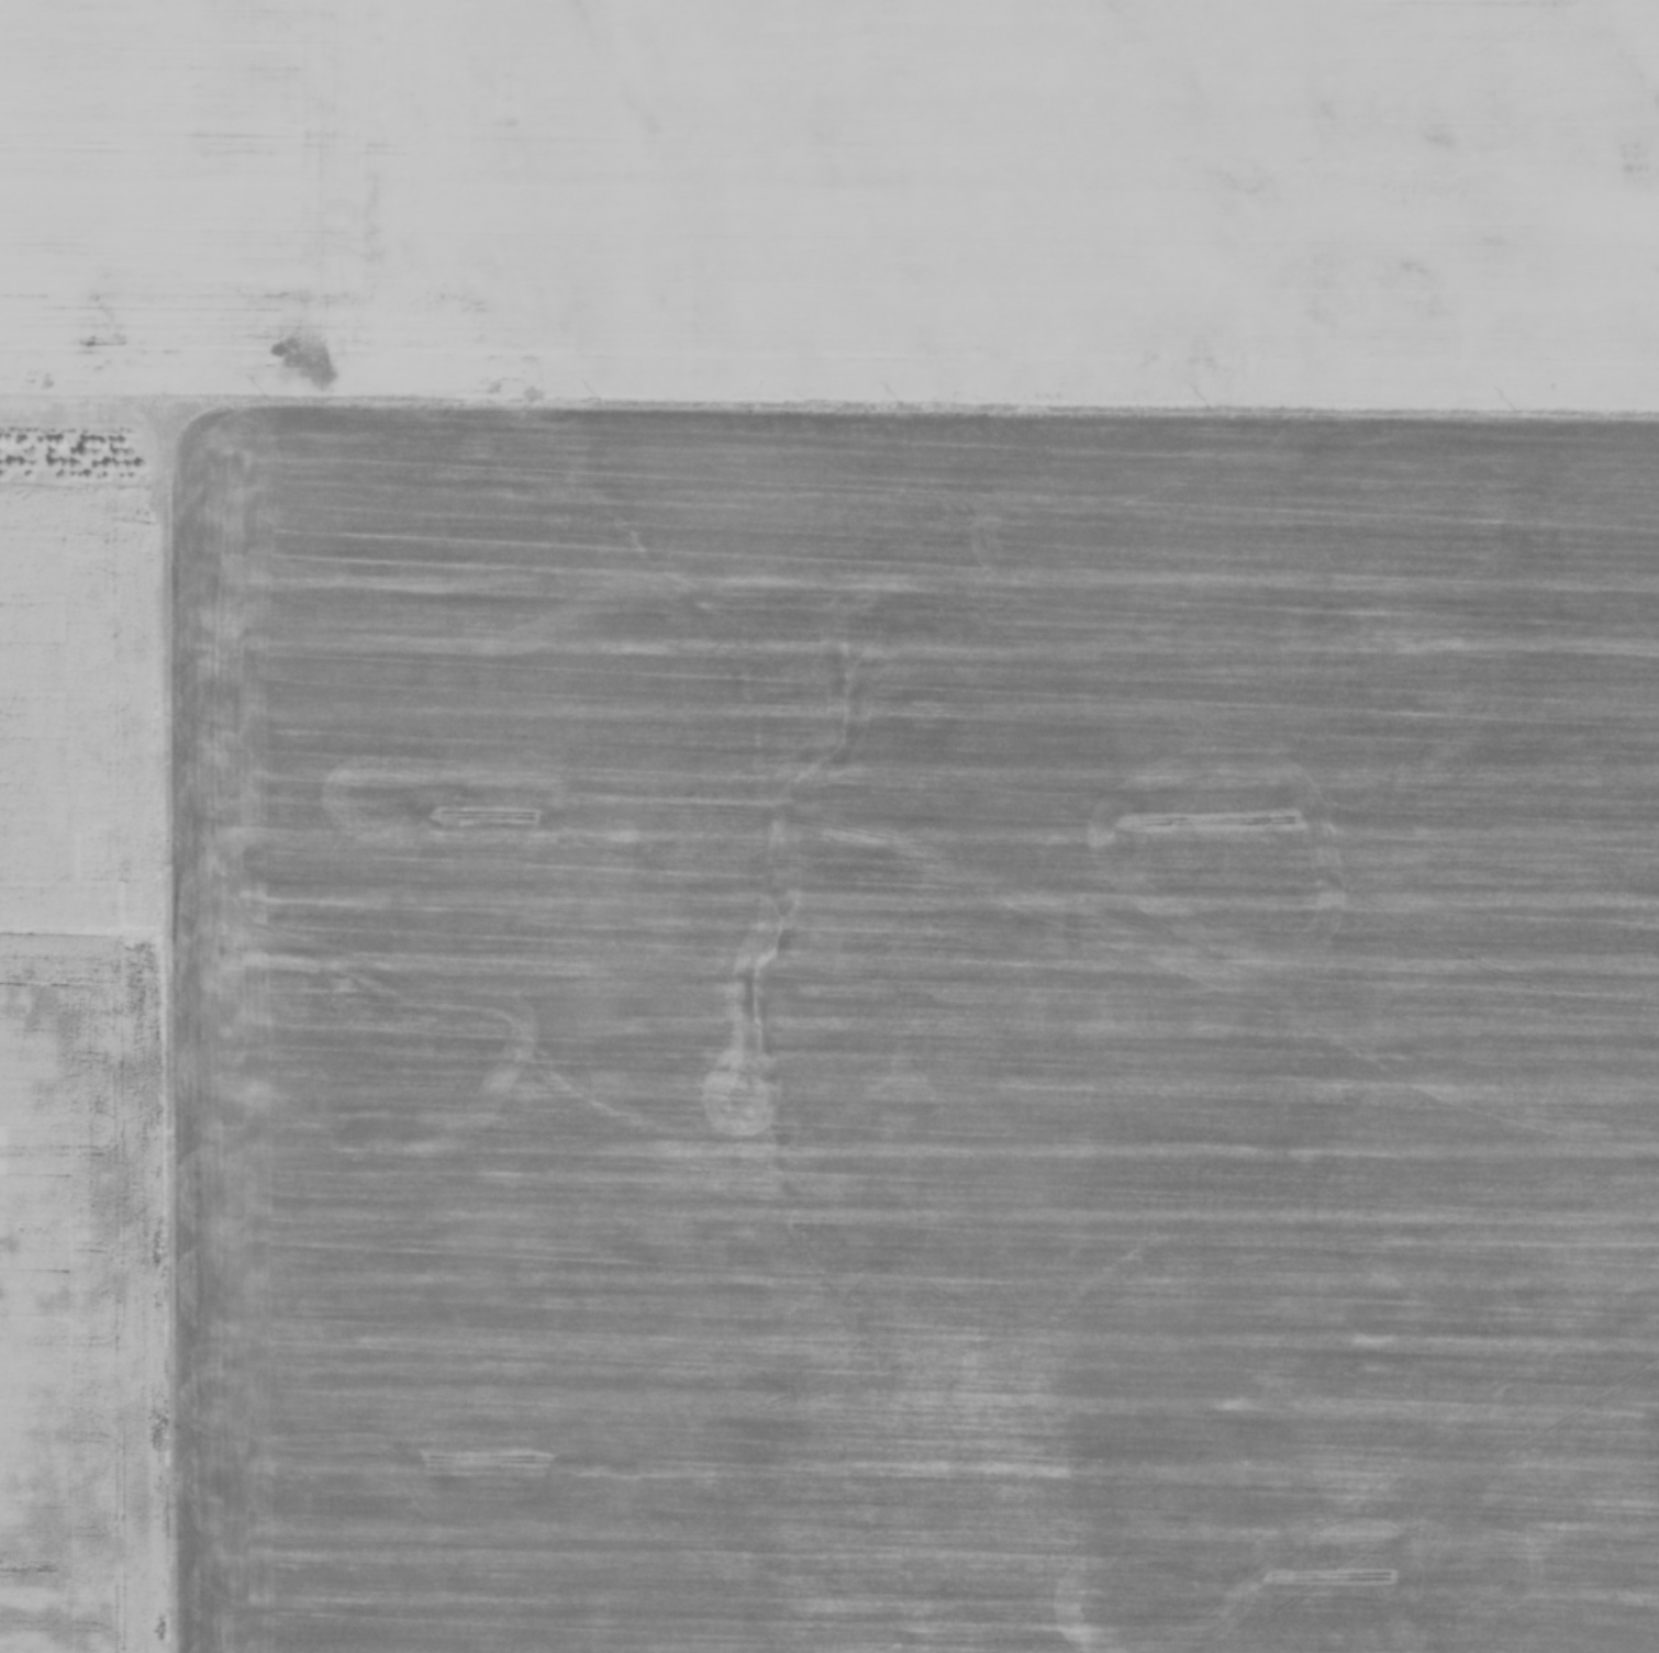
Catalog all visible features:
crop: (834, 193)

